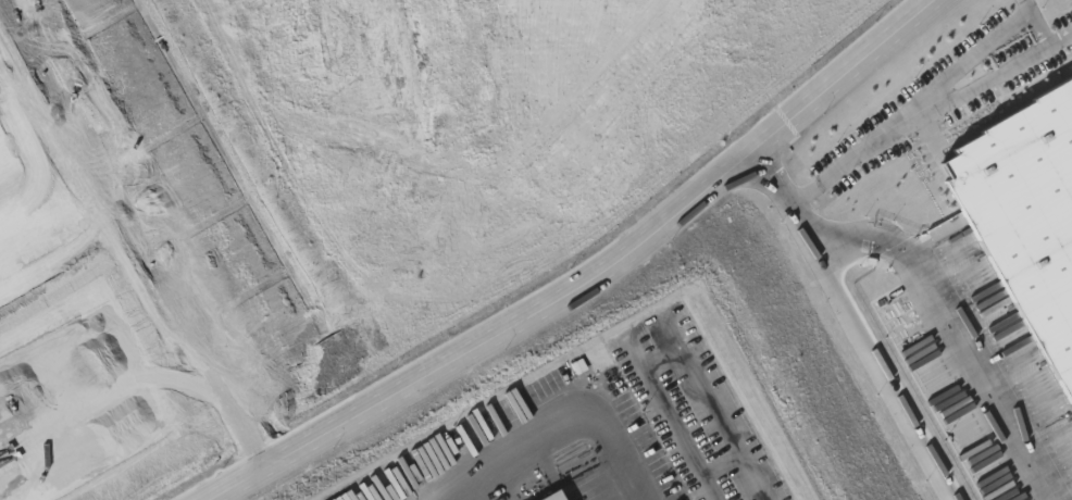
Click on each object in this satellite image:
road: (1035, 24)
road: (927, 115)
road: (606, 165)
road: (315, 188)
road: (600, 191)
building: (1023, 204)
road: (138, 232)
road: (65, 257)
road: (588, 277)
road: (922, 289)
road: (669, 348)
road: (893, 371)
road: (557, 427)
road: (720, 464)

